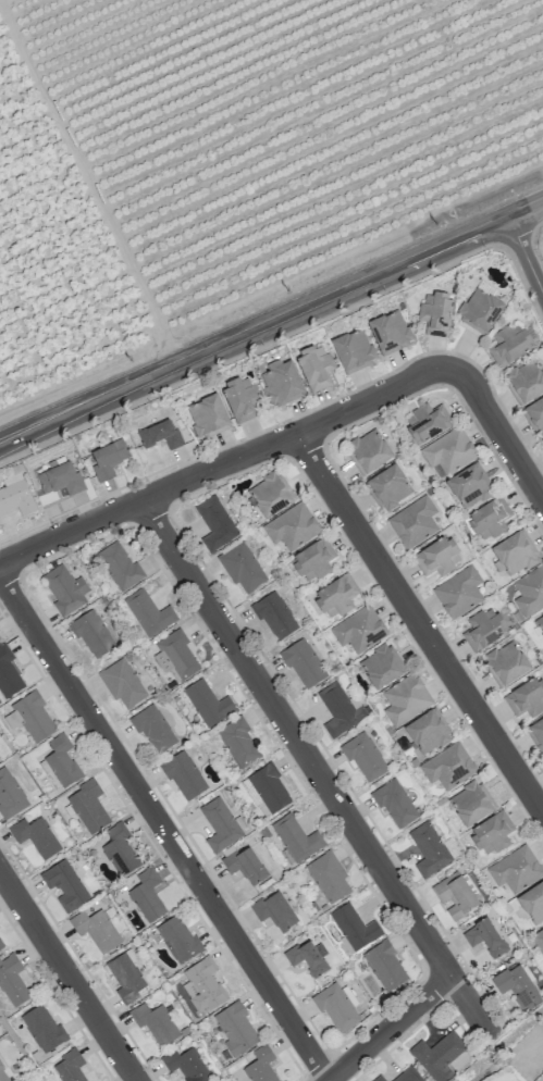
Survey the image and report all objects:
road: (525, 252)
building: (479, 310)
building: (435, 313)
road: (271, 321)
building: (390, 332)
building: (509, 345)
building: (353, 349)
building: (314, 366)
building: (526, 382)
building: (281, 383)
building: (239, 398)
building: (535, 415)
building: (208, 417)
road: (496, 419)
building: (427, 422)
building: (160, 434)
building: (367, 451)
building: (445, 453)
building: (108, 459)
road: (217, 465)
building: (59, 479)
building: (468, 486)
building: (388, 487)
building: (268, 495)
building: (15, 497)
building: (490, 518)
building: (414, 522)
building: (214, 524)
building: (291, 526)
building: (513, 554)
building: (437, 557)
building: (312, 560)
building: (120, 566)
building: (240, 567)
building: (64, 589)
building: (529, 591)
building: (458, 592)
building: (335, 596)
building: (148, 613)
building: (274, 616)
road: (419, 621)
building: (539, 623)
building: (483, 628)
building: (359, 629)
building: (90, 633)
building: (175, 656)
building: (303, 663)
building: (506, 663)
building: (381, 666)
building: (8, 674)
building: (122, 683)
building: (526, 697)
building: (405, 699)
building: (208, 703)
building: (340, 709)
building: (32, 717)
building: (153, 729)
building: (428, 732)
building: (536, 733)
building: (238, 742)
building: (363, 756)
building: (61, 761)
building: (447, 766)
road: (317, 770)
building: (184, 775)
building: (267, 791)
building: (10, 794)
building: (394, 803)
building: (470, 803)
building: (88, 806)
building: (221, 823)
road: (164, 829)
building: (492, 833)
building: (35, 836)
building: (296, 838)
building: (120, 849)
building: (430, 849)
building: (244, 865)
building: (515, 869)
building: (328, 877)
building: (64, 885)
building: (147, 895)
building: (455, 895)
building: (532, 903)
building: (274, 910)
building: (355, 927)
building: (96, 929)
building: (484, 937)
building: (177, 939)
building: (539, 939)
building: (1, 943)
building: (308, 957)
building: (385, 966)
road: (67, 976)
building: (125, 976)
building: (12, 980)
building: (203, 984)
building: (517, 986)
building: (337, 1006)
building: (155, 1022)
building: (42, 1028)
building: (235, 1028)
road: (392, 1028)
building: (439, 1055)
building: (186, 1065)
building: (260, 1065)
building: (69, 1067)
building: (3, 1074)
building: (408, 1076)
building: (379, 1078)

